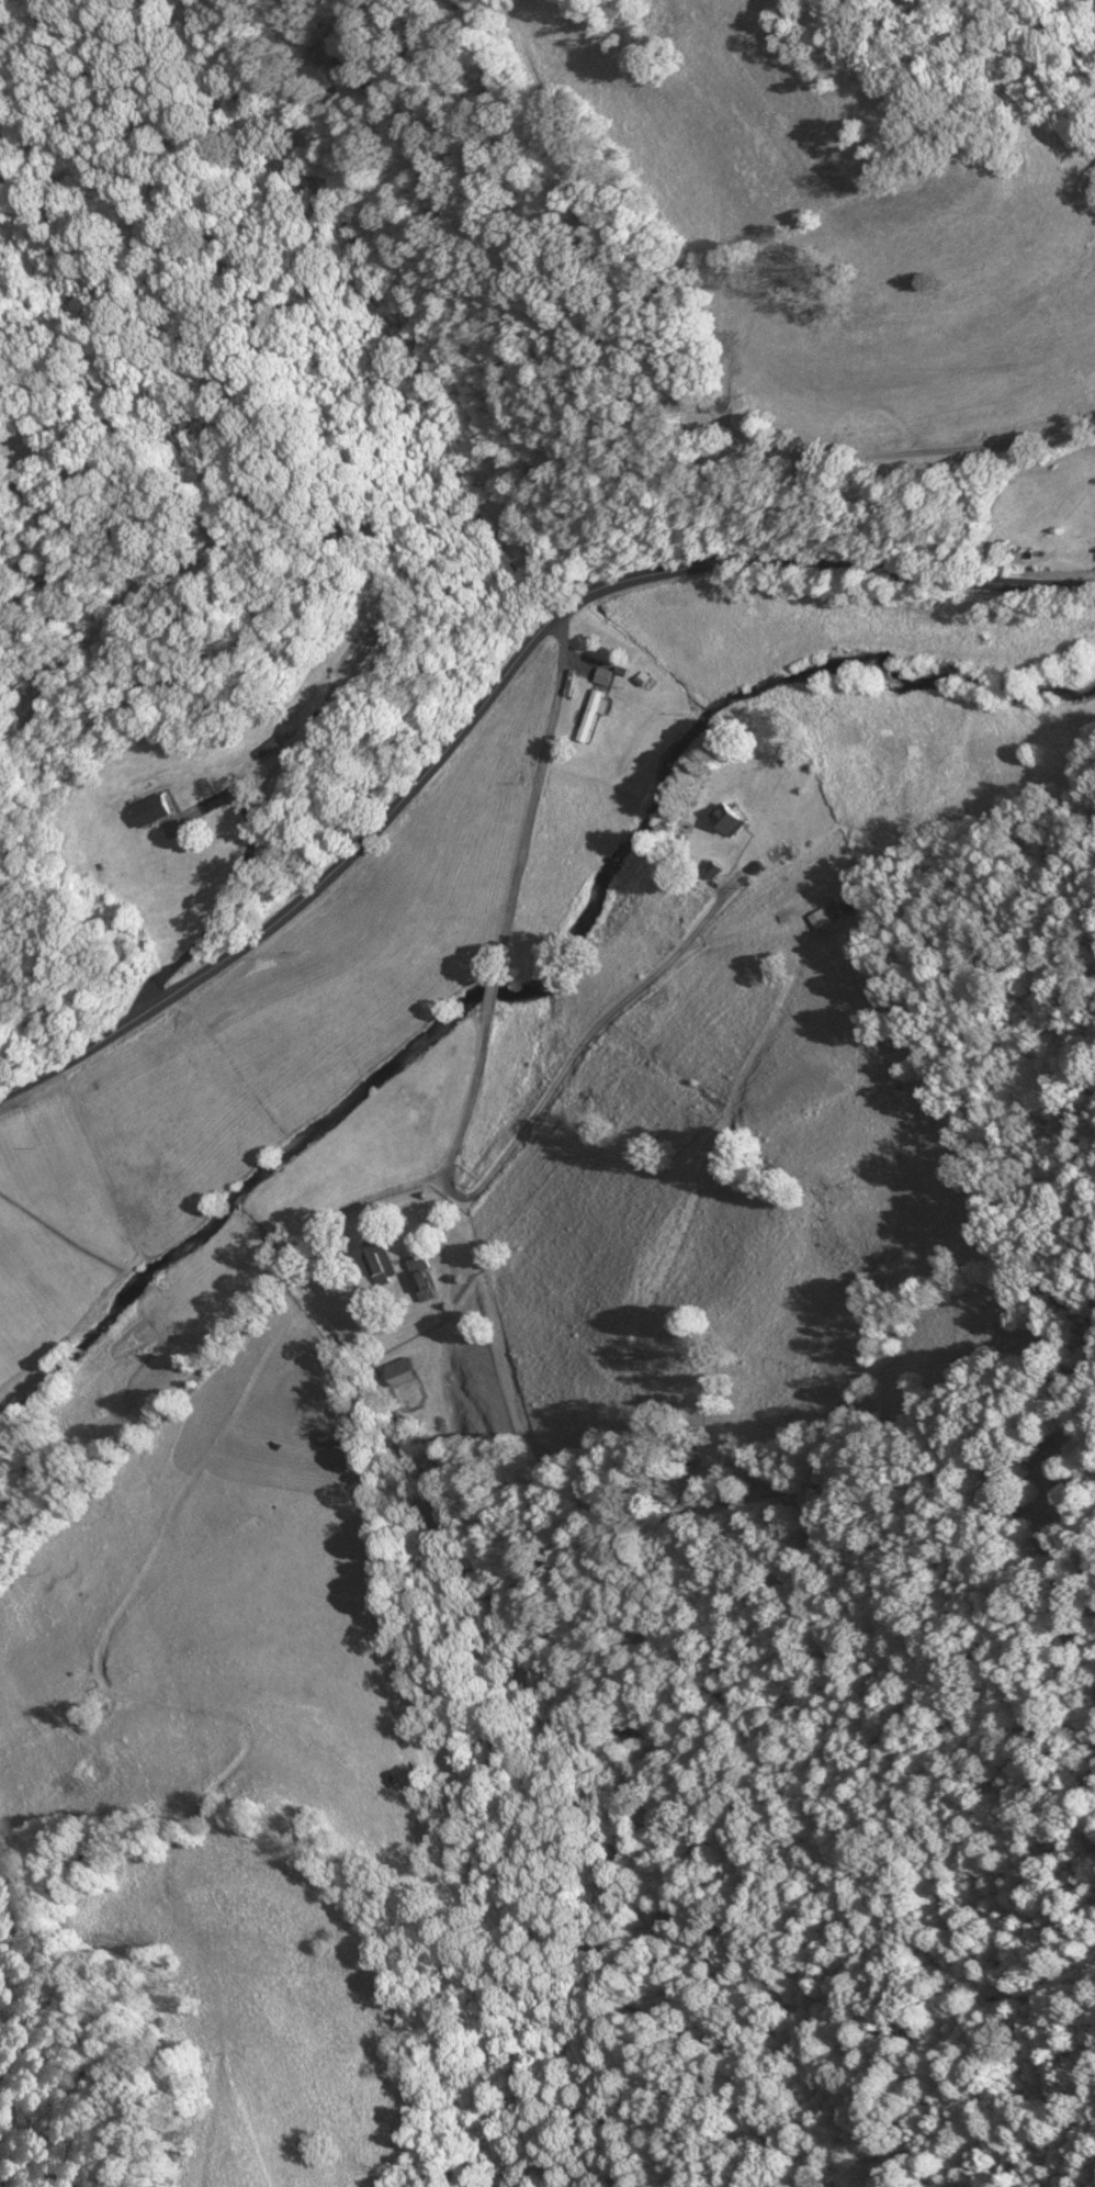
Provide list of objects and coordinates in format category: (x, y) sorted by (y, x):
road: (833, 562)
building: (603, 674)
building: (592, 711)
building: (270, 747)
building: (154, 808)
building: (726, 816)
road: (323, 886)
building: (817, 917)
road: (433, 1174)
building: (382, 1258)
building: (418, 1259)
building: (404, 1368)
building: (335, 1435)

